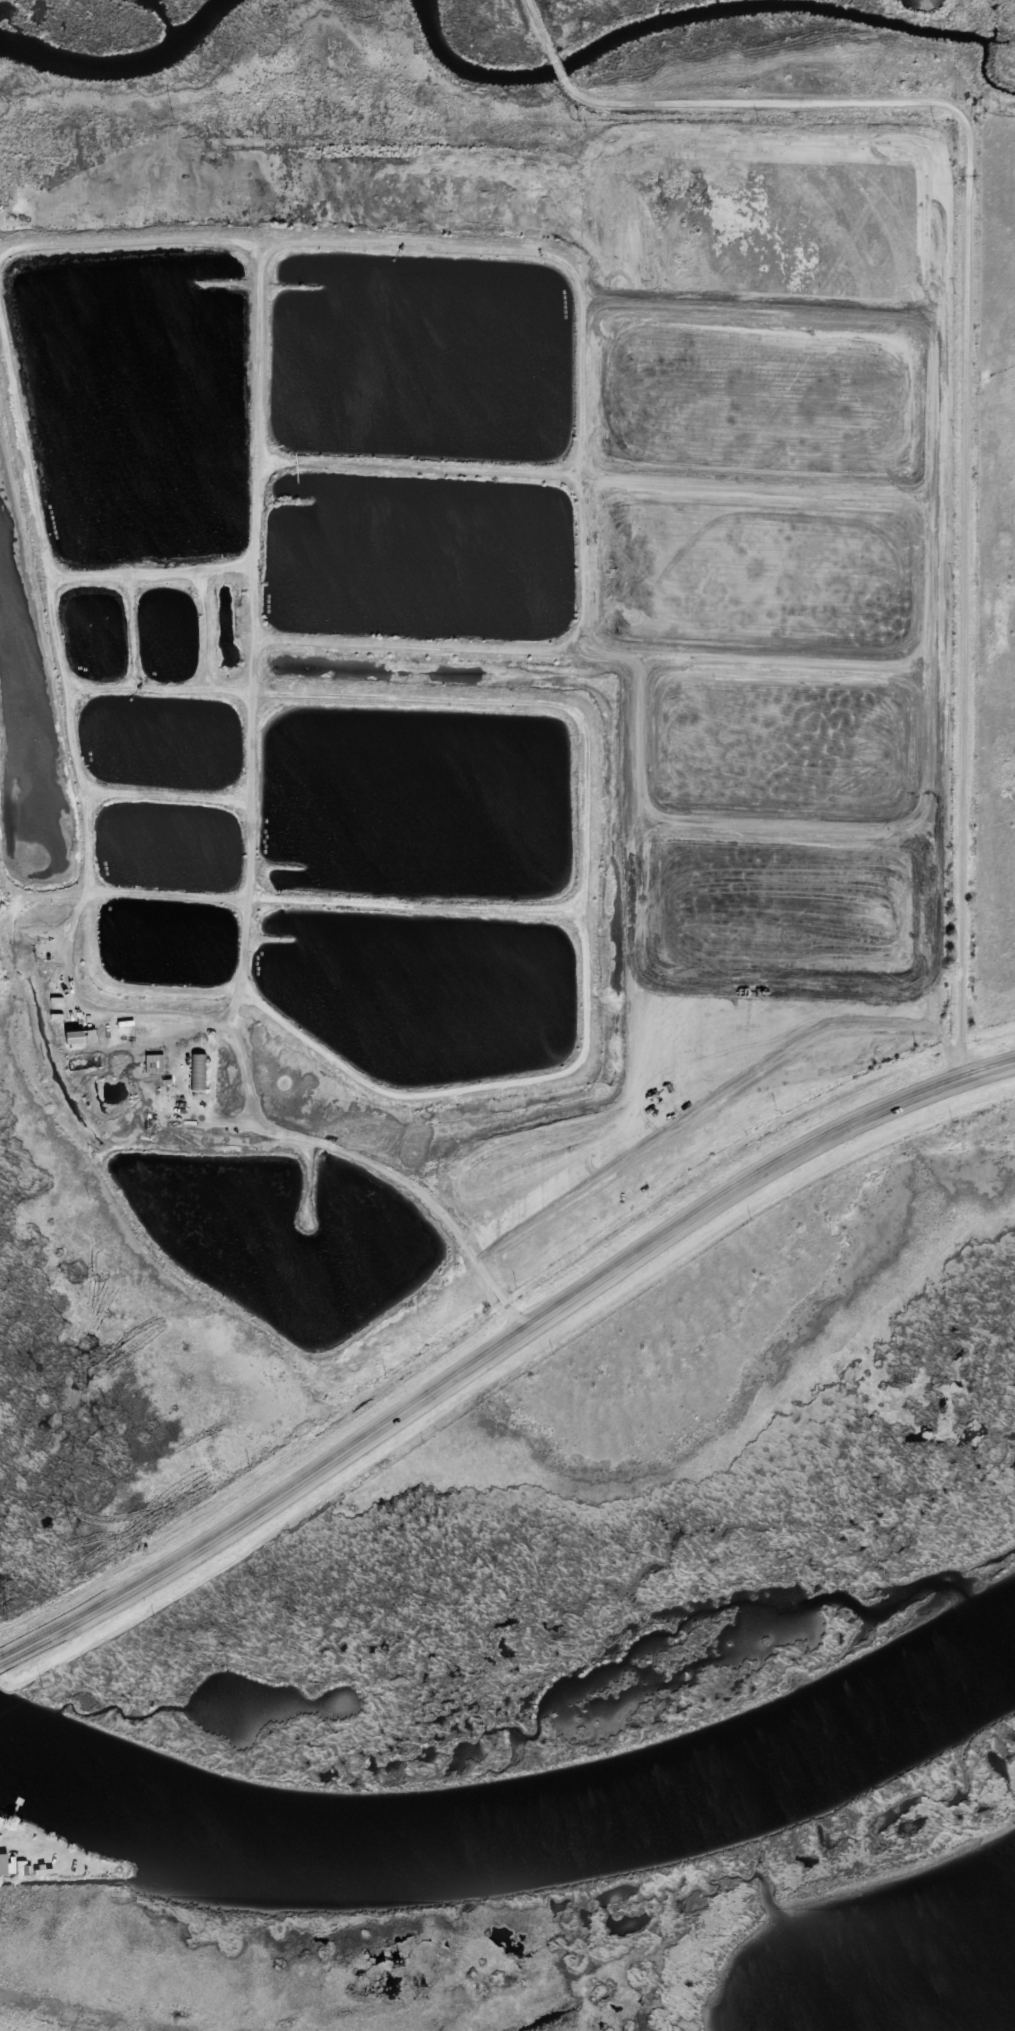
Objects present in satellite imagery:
road: (740, 94)
road: (978, 591)
building: (82, 1038)
building: (154, 1065)
building: (198, 1073)
road: (503, 1352)
building: (2, 1823)
building: (15, 1868)

